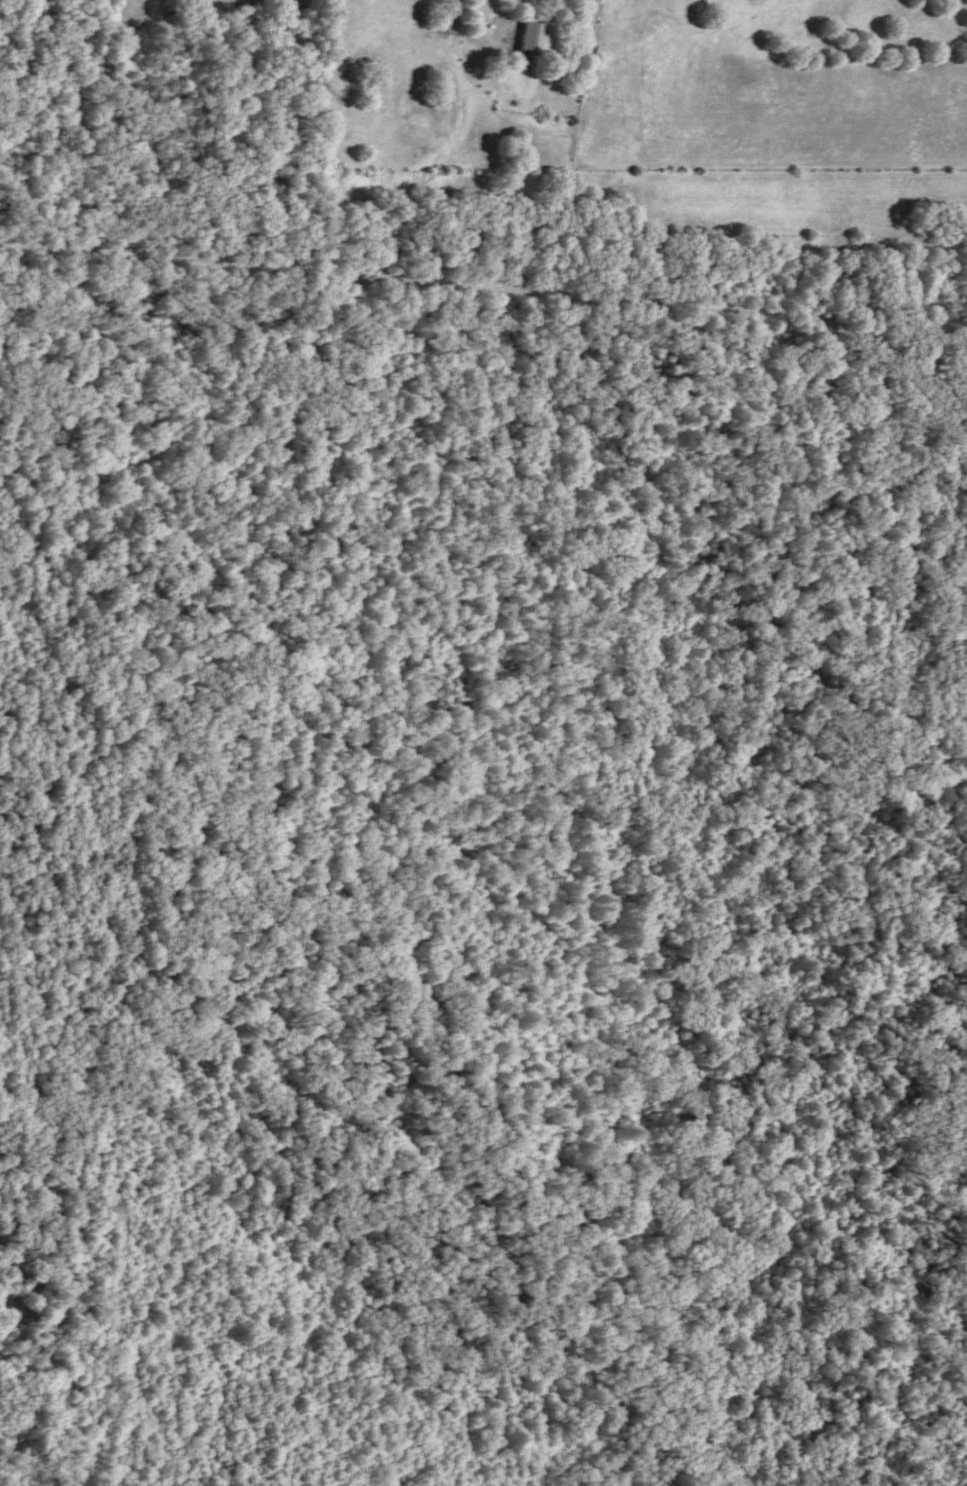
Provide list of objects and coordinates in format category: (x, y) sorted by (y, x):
building: (535, 40)
road: (489, 287)
road: (81, 993)

